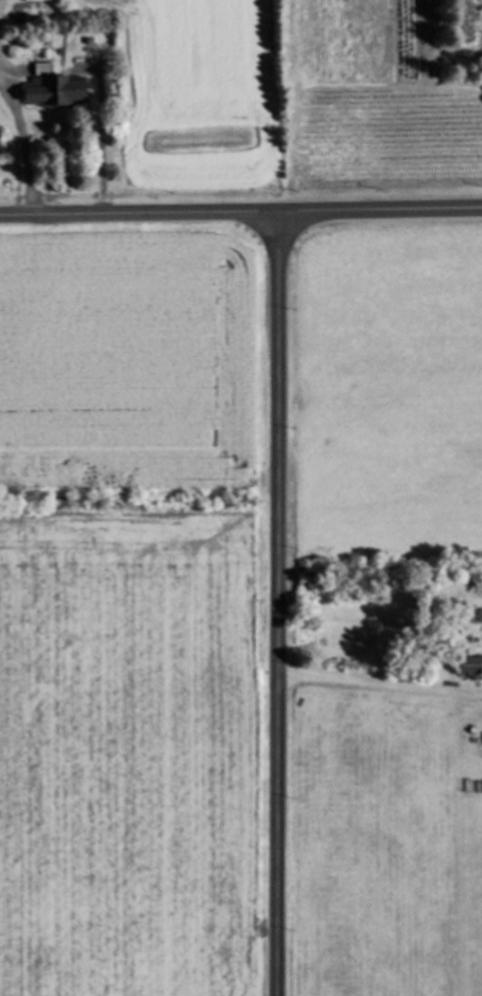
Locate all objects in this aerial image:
building: (59, 93)
road: (23, 136)
road: (102, 142)
road: (241, 215)
road: (274, 605)
crop: (129, 612)
building: (471, 660)
road: (378, 684)

